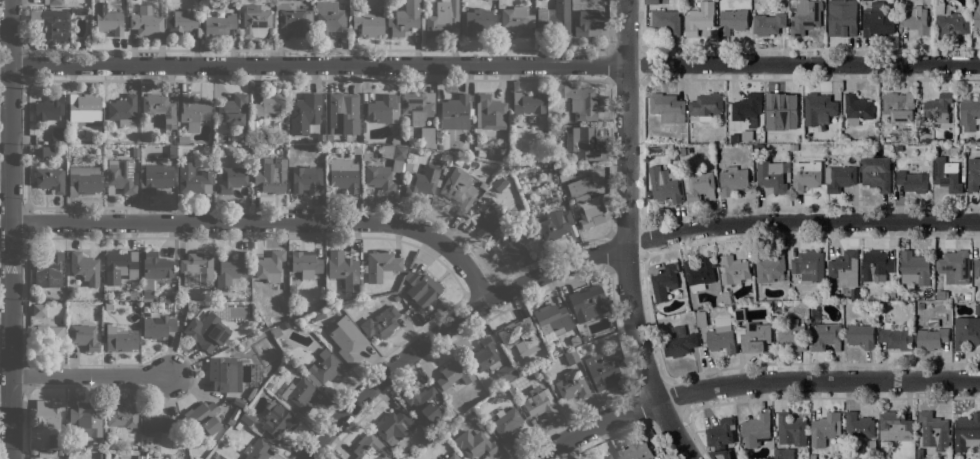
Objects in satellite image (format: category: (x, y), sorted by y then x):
building: (291, 0)
building: (52, 1)
building: (651, 2)
building: (78, 11)
building: (977, 15)
building: (805, 17)
building: (842, 17)
building: (404, 18)
building: (699, 18)
building: (107, 19)
building: (443, 19)
building: (553, 19)
building: (477, 20)
building: (517, 20)
building: (878, 20)
building: (916, 20)
building: (184, 21)
building: (255, 21)
building: (332, 21)
building: (666, 21)
building: (733, 21)
building: (950, 21)
building: (146, 22)
building: (296, 22)
building: (368, 23)
building: (588, 23)
building: (768, 24)
building: (218, 25)
building: (53, 27)
road: (494, 64)
building: (579, 101)
building: (527, 103)
building: (270, 104)
building: (417, 106)
building: (706, 106)
building: (49, 107)
building: (781, 107)
building: (899, 107)
building: (84, 108)
building: (667, 108)
building: (746, 108)
building: (819, 108)
building: (938, 108)
building: (158, 109)
building: (382, 109)
building: (857, 109)
building: (122, 110)
building: (232, 110)
building: (192, 111)
building: (454, 112)
building: (490, 112)
building: (304, 113)
building: (969, 114)
building: (342, 115)
building: (57, 135)
building: (426, 136)
building: (543, 136)
building: (890, 137)
building: (168, 138)
building: (320, 138)
building: (403, 138)
building: (182, 139)
building: (280, 139)
building: (394, 139)
building: (734, 139)
building: (247, 140)
building: (967, 140)
building: (582, 142)
building: (245, 146)
building: (315, 147)
building: (758, 148)
building: (793, 148)
building: (898, 148)
building: (135, 151)
building: (185, 151)
building: (47, 152)
building: (172, 152)
building: (481, 152)
building: (394, 155)
building: (445, 157)
building: (538, 160)
building: (458, 161)
building: (408, 166)
building: (504, 171)
building: (876, 173)
building: (343, 174)
building: (772, 174)
building: (946, 174)
building: (973, 175)
building: (120, 176)
building: (271, 176)
building: (806, 176)
building: (155, 177)
building: (379, 177)
building: (839, 178)
building: (50, 179)
building: (231, 179)
building: (307, 179)
building: (84, 180)
building: (732, 180)
building: (422, 181)
building: (912, 181)
building: (194, 182)
building: (498, 183)
building: (664, 184)
building: (697, 184)
building: (459, 190)
road: (625, 201)
building: (585, 203)
building: (485, 218)
road: (801, 220)
road: (264, 222)
building: (555, 223)
road: (9, 229)
building: (507, 247)
building: (527, 259)
building: (305, 263)
building: (381, 265)
building: (809, 265)
building: (876, 265)
building: (120, 266)
building: (269, 266)
building: (954, 266)
building: (770, 267)
building: (977, 267)
building: (84, 268)
building: (197, 268)
building: (915, 268)
building: (343, 269)
building: (844, 269)
building: (47, 270)
building: (231, 270)
building: (733, 270)
building: (699, 271)
building: (153, 272)
building: (665, 282)
building: (133, 283)
building: (940, 283)
building: (422, 288)
building: (133, 294)
building: (853, 294)
building: (940, 294)
building: (892, 295)
building: (967, 296)
building: (587, 302)
building: (108, 306)
building: (920, 306)
building: (977, 309)
building: (38, 310)
building: (739, 314)
building: (317, 315)
building: (701, 318)
building: (552, 319)
building: (295, 323)
building: (380, 323)
building: (284, 325)
road: (447, 325)
building: (158, 326)
building: (262, 327)
building: (275, 331)
building: (966, 332)
building: (200, 333)
building: (792, 334)
building: (861, 335)
building: (932, 335)
building: (84, 336)
building: (520, 336)
building: (721, 336)
building: (754, 336)
building: (826, 336)
building: (584, 337)
building: (49, 338)
building: (897, 338)
building: (120, 339)
building: (348, 340)
building: (574, 340)
building: (679, 342)
building: (617, 350)
building: (484, 354)
building: (571, 357)
building: (286, 365)
building: (325, 368)
building: (601, 371)
building: (506, 372)
building: (454, 373)
road: (88, 374)
building: (224, 374)
road: (817, 380)
building: (268, 385)
building: (571, 385)
building: (301, 396)
building: (238, 401)
building: (539, 401)
building: (428, 404)
building: (47, 412)
building: (85, 413)
building: (120, 414)
building: (203, 417)
building: (247, 418)
building: (277, 419)
building: (230, 421)
building: (157, 422)
building: (479, 423)
building: (506, 423)
building: (393, 425)
building: (859, 425)
building: (238, 426)
road: (593, 426)
building: (894, 426)
building: (968, 426)
road: (672, 429)
building: (791, 429)
building: (825, 429)
building: (756, 430)
building: (934, 431)
building: (106, 434)
building: (721, 437)
building: (53, 441)
building: (106, 443)
building: (476, 443)
building: (871, 444)
building: (370, 448)
building: (256, 450)
building: (885, 450)
building: (636, 451)
building: (64, 452)
building: (919, 453)
building: (46, 454)
building: (781, 454)
building: (214, 455)
building: (139, 456)
building: (453, 456)
building: (813, 456)
building: (606, 457)
building: (663, 458)

